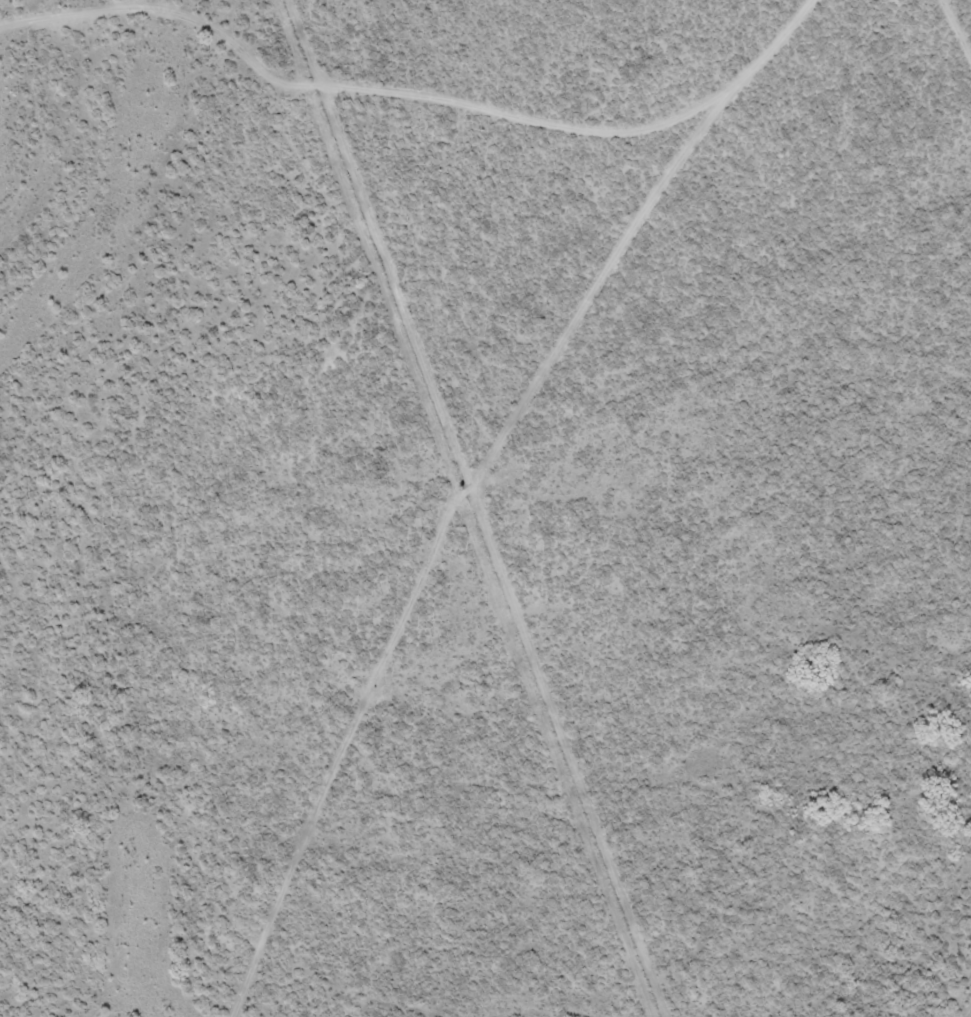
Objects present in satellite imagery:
road: (478, 479)

